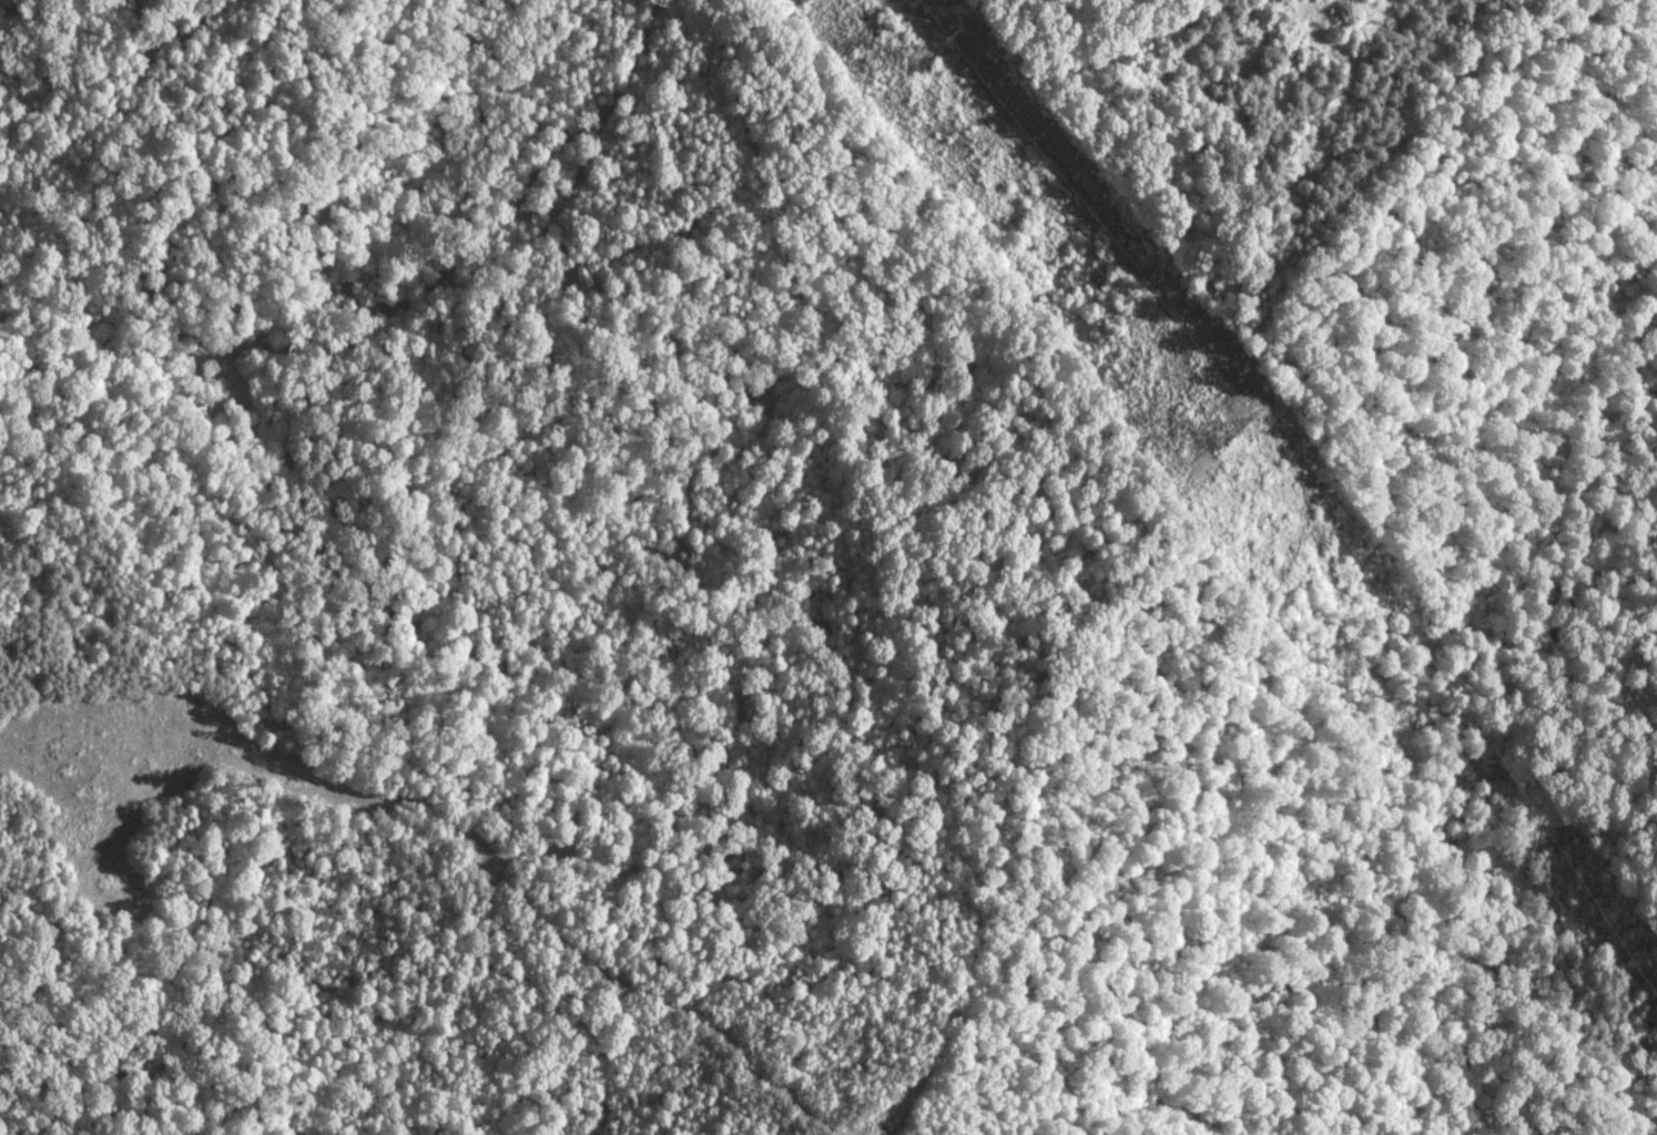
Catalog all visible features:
power tower: (917, 59)
power tower: (1216, 436)

